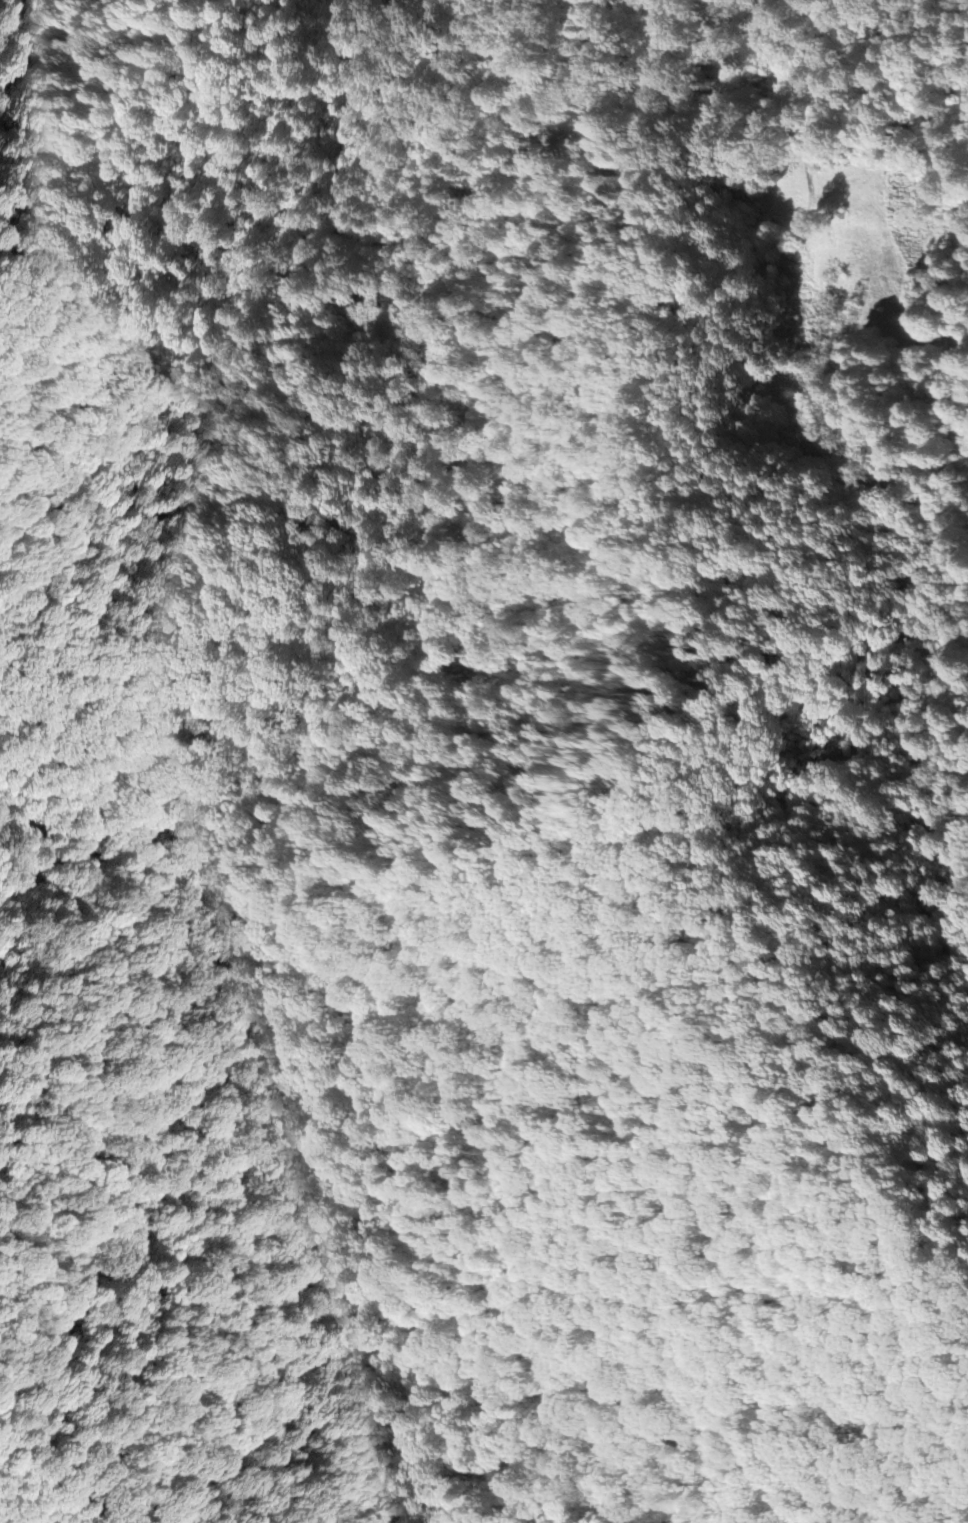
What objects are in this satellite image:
road: (52, 48)
road: (789, 91)
road: (428, 236)
road: (44, 853)

